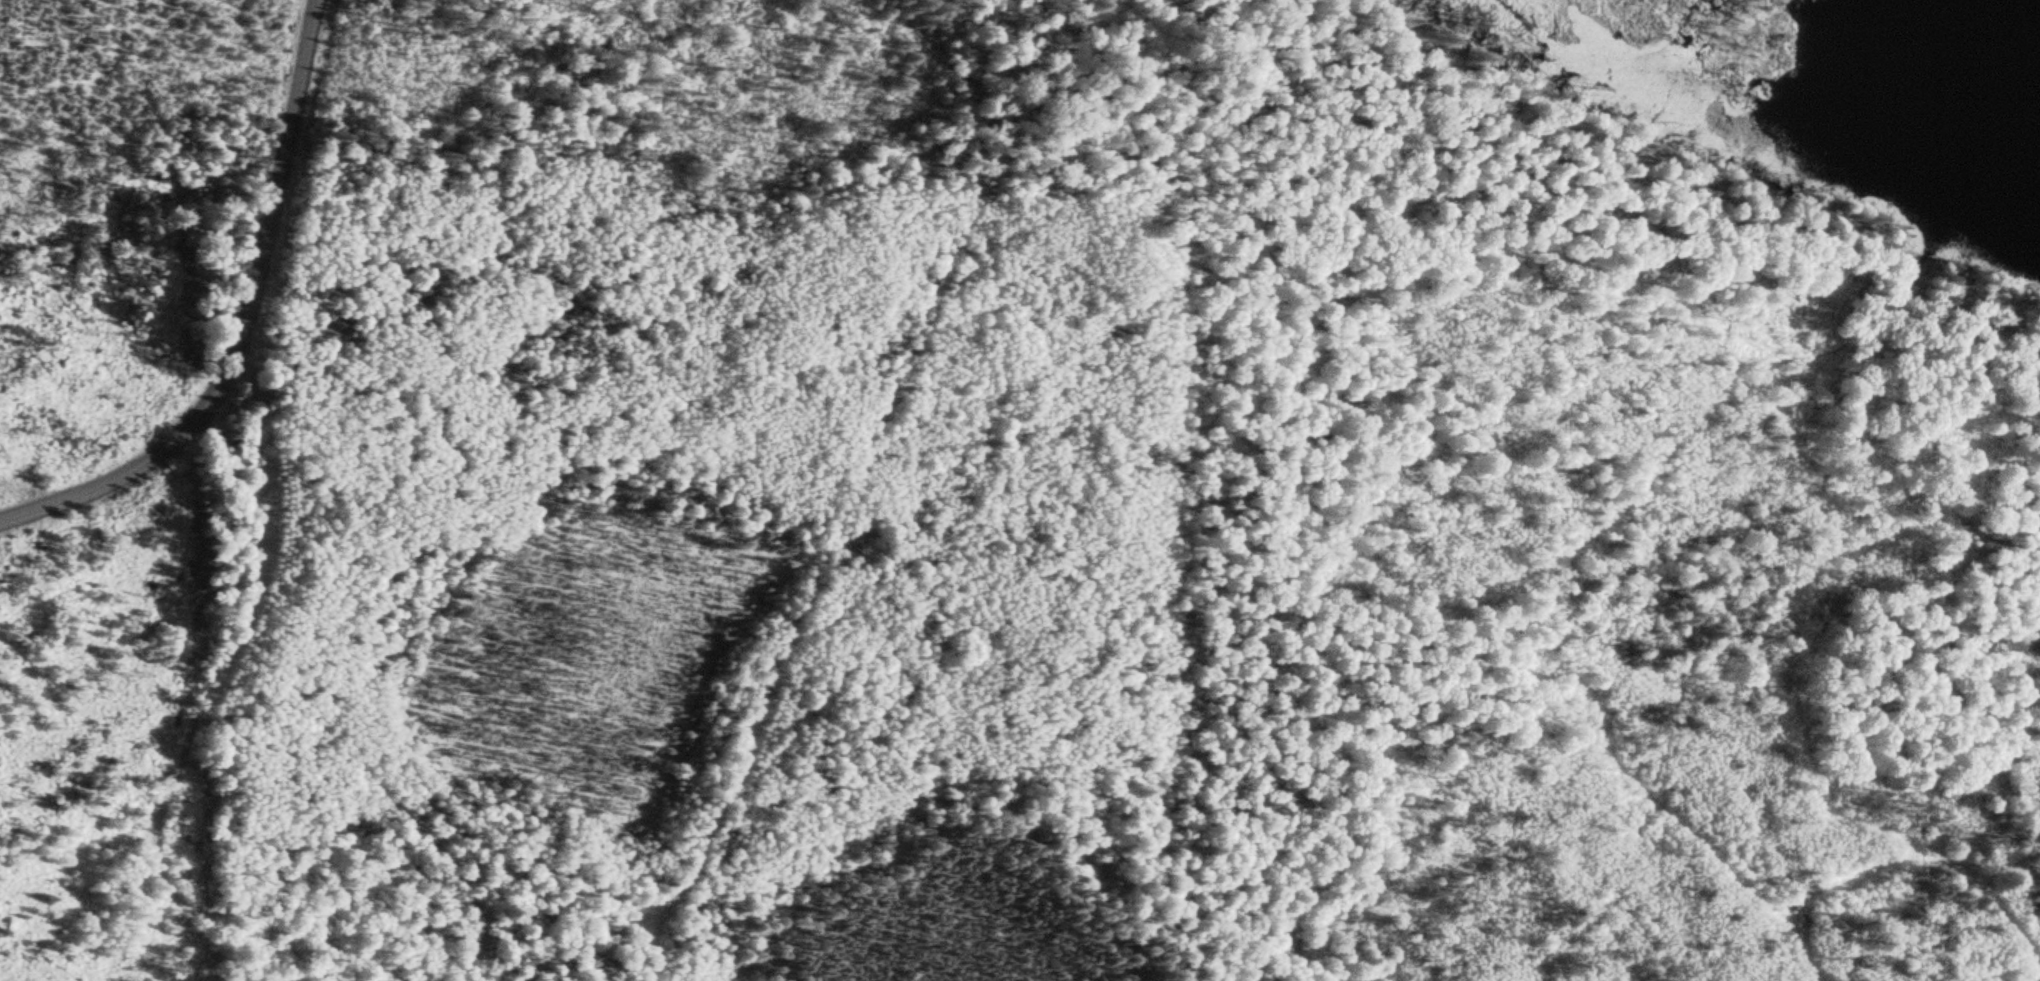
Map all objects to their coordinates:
road: (245, 324)

